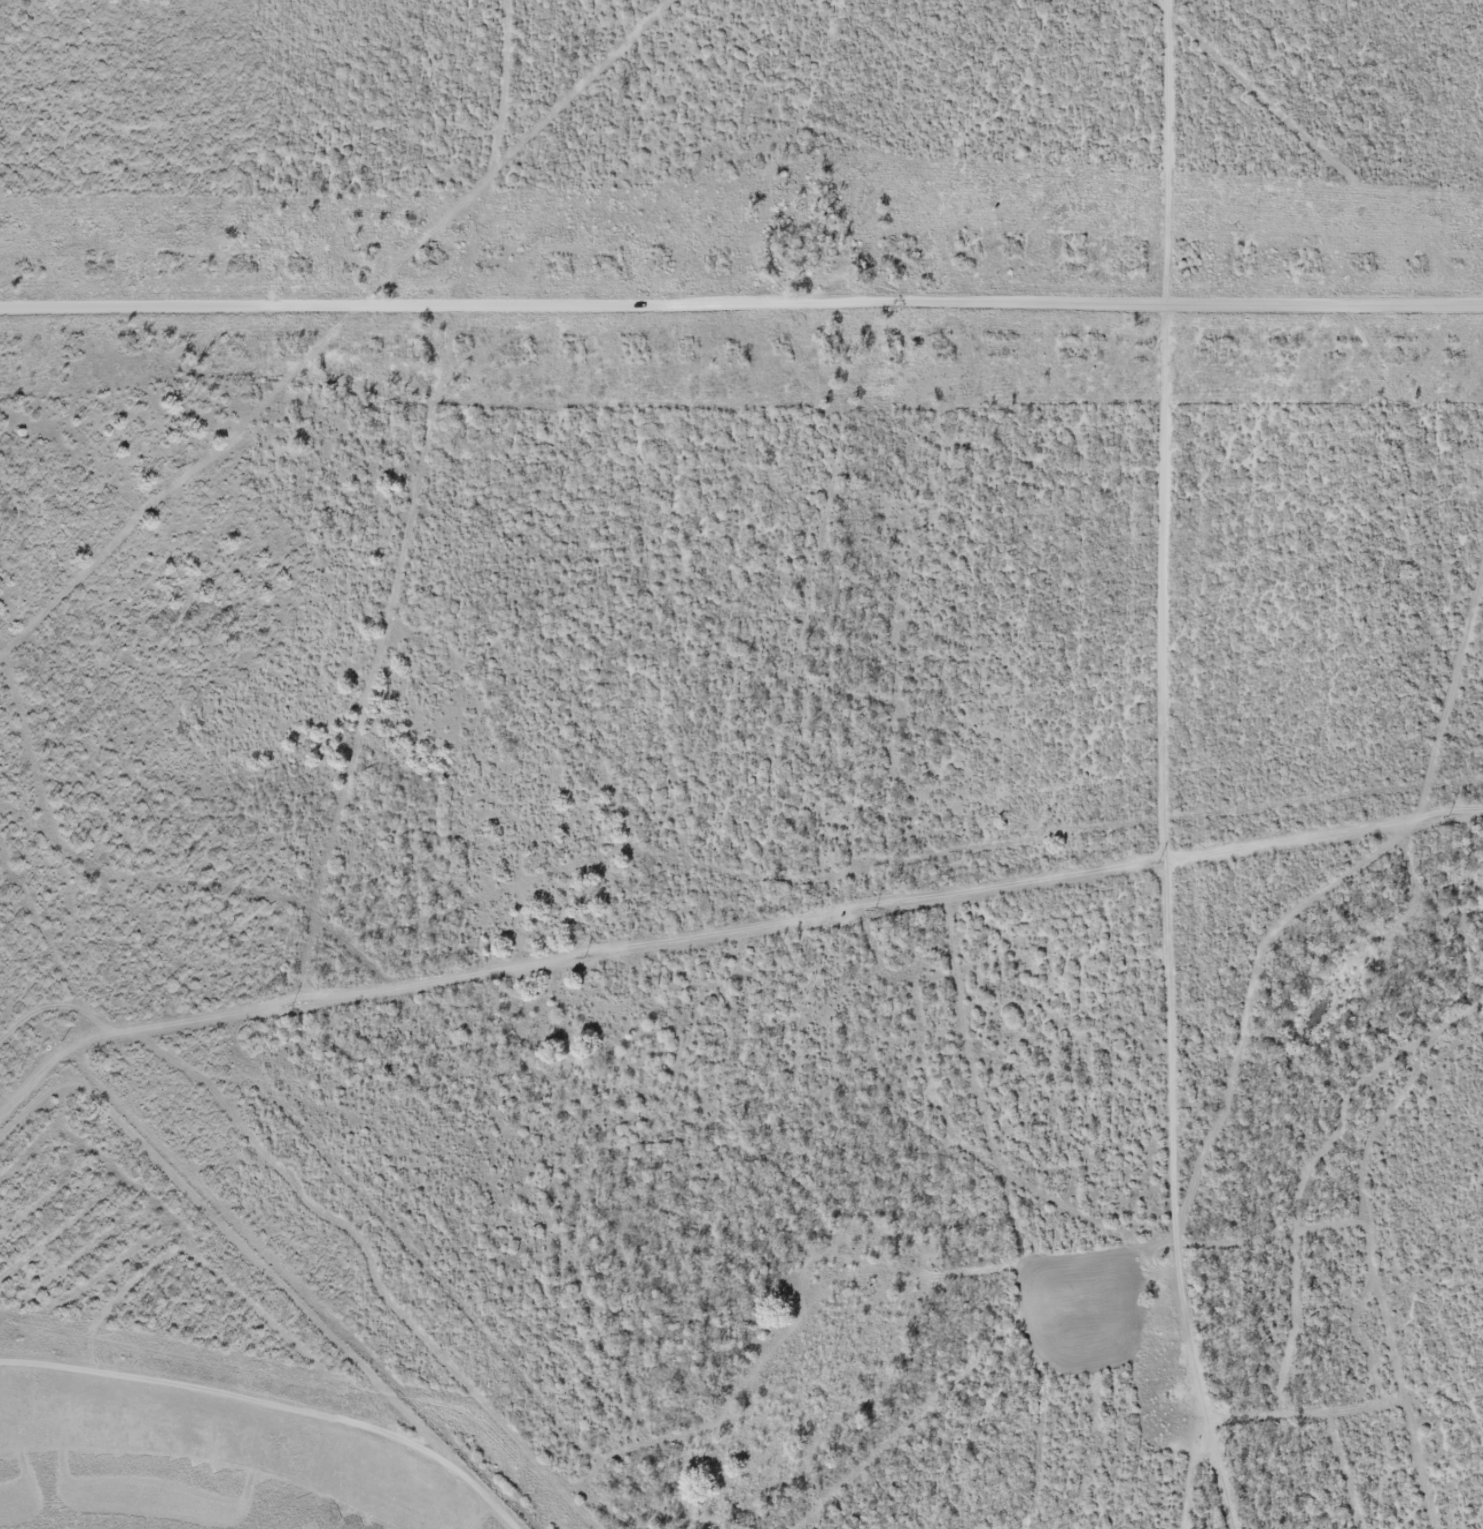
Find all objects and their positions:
road: (1271, 154)
road: (741, 326)
road: (1177, 767)
power tower: (1446, 816)
power tower: (1157, 864)
power tower: (873, 911)
power tower: (583, 958)
power tower: (291, 1006)
power tower: (61, 1042)
road: (1384, 1266)

